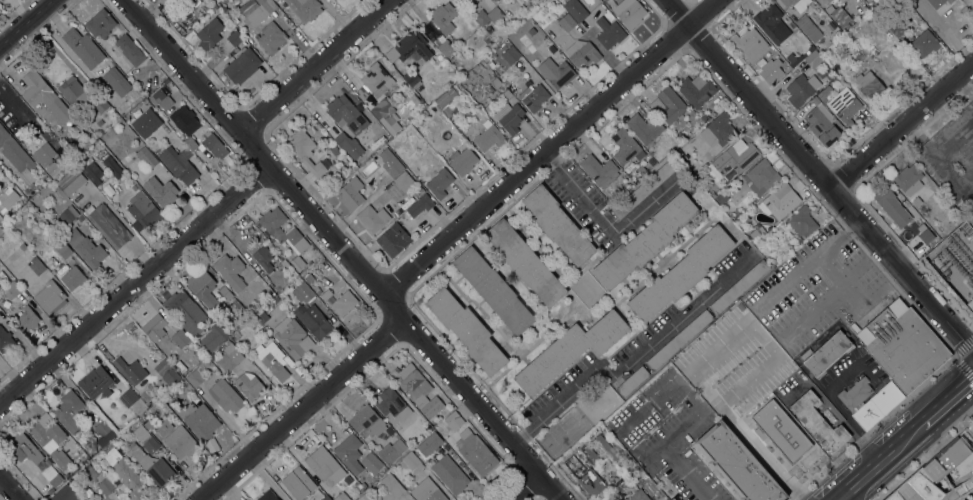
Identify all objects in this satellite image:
building: (2, 0)
building: (234, 0)
building: (165, 1)
building: (824, 1)
building: (938, 3)
building: (796, 4)
building: (212, 6)
building: (247, 6)
building: (611, 6)
building: (304, 9)
building: (575, 10)
building: (261, 11)
building: (228, 13)
building: (632, 14)
building: (838, 14)
building: (488, 16)
building: (443, 17)
building: (938, 20)
road: (26, 23)
building: (567, 23)
building: (772, 23)
building: (100, 24)
building: (831, 26)
building: (808, 28)
building: (489, 29)
building: (897, 30)
building: (531, 31)
building: (609, 33)
building: (837, 33)
building: (209, 34)
building: (515, 35)
building: (234, 38)
building: (271, 38)
building: (524, 40)
building: (924, 43)
building: (749, 44)
building: (83, 48)
building: (446, 48)
building: (410, 49)
building: (531, 49)
building: (129, 50)
building: (522, 51)
building: (582, 53)
building: (510, 55)
building: (797, 57)
building: (813, 59)
building: (491, 65)
building: (242, 66)
road: (314, 66)
building: (556, 71)
building: (771, 71)
building: (830, 76)
building: (411, 78)
building: (116, 81)
building: (165, 81)
building: (374, 82)
building: (496, 85)
building: (870, 86)
building: (489, 89)
building: (801, 89)
building: (696, 90)
road: (964, 90)
building: (72, 91)
building: (507, 94)
building: (821, 96)
building: (45, 97)
building: (533, 97)
building: (160, 99)
building: (413, 99)
building: (443, 99)
building: (667, 105)
building: (100, 106)
building: (844, 106)
building: (346, 113)
building: (385, 115)
building: (509, 117)
building: (99, 123)
building: (145, 123)
building: (821, 124)
building: (185, 125)
building: (644, 126)
road: (901, 127)
building: (720, 129)
building: (77, 134)
building: (128, 137)
building: (488, 137)
building: (108, 139)
building: (91, 140)
building: (348, 145)
building: (214, 146)
building: (626, 149)
road: (546, 150)
building: (305, 151)
building: (114, 152)
road: (937, 154)
building: (145, 157)
building: (735, 158)
building: (17, 159)
building: (46, 159)
building: (130, 159)
building: (462, 161)
building: (390, 163)
building: (178, 164)
building: (112, 167)
building: (599, 171)
building: (92, 173)
building: (760, 176)
building: (698, 177)
road: (818, 177)
building: (908, 180)
building: (71, 181)
building: (437, 181)
building: (399, 185)
building: (646, 187)
building: (164, 193)
building: (350, 194)
building: (721, 198)
building: (885, 198)
building: (7, 199)
building: (779, 201)
building: (915, 201)
building: (420, 207)
building: (143, 212)
building: (68, 214)
building: (972, 216)
road: (604, 218)
building: (372, 219)
building: (801, 221)
building: (972, 223)
building: (4, 225)
building: (108, 225)
building: (558, 225)
building: (1, 231)
building: (756, 233)
building: (284, 234)
building: (393, 240)
building: (645, 241)
building: (22, 246)
building: (60, 247)
road: (335, 249)
building: (88, 251)
building: (263, 258)
power substation: (955, 260)
building: (525, 263)
building: (35, 265)
road: (809, 265)
building: (230, 271)
building: (680, 274)
building: (72, 277)
building: (309, 278)
building: (280, 283)
road: (134, 286)
building: (739, 286)
building: (204, 289)
building: (11, 290)
building: (493, 290)
building: (225, 293)
building: (302, 293)
building: (325, 294)
building: (50, 297)
building: (275, 300)
building: (290, 302)
building: (343, 303)
building: (970, 305)
building: (187, 313)
building: (271, 313)
building: (261, 317)
building: (28, 319)
building: (313, 320)
building: (152, 330)
building: (467, 331)
building: (211, 338)
building: (292, 338)
building: (180, 339)
building: (5, 340)
building: (679, 340)
building: (902, 346)
building: (570, 351)
building: (827, 353)
building: (230, 357)
building: (272, 362)
road: (622, 365)
building: (130, 370)
building: (200, 371)
building: (167, 372)
building: (632, 381)
building: (96, 382)
building: (248, 385)
building: (417, 391)
building: (172, 392)
building: (145, 396)
building: (225, 396)
road: (832, 396)
building: (128, 398)
road: (949, 399)
building: (869, 401)
building: (392, 406)
building: (69, 411)
road: (298, 412)
road: (692, 414)
building: (765, 419)
building: (199, 420)
building: (367, 422)
building: (454, 422)
building: (818, 422)
building: (148, 425)
building: (163, 427)
building: (439, 430)
building: (971, 430)
building: (103, 432)
road: (746, 437)
building: (50, 441)
building: (181, 442)
railway: (907, 442)
building: (429, 444)
building: (24, 448)
building: (606, 448)
building: (391, 451)
building: (475, 452)
building: (349, 453)
building: (590, 455)
road: (869, 455)
building: (149, 456)
building: (733, 461)
building: (411, 462)
building: (321, 463)
road: (890, 463)
building: (373, 465)
building: (123, 471)
building: (936, 471)
building: (450, 474)
building: (584, 474)
building: (51, 475)
building: (94, 479)
building: (298, 483)
building: (391, 485)
road: (517, 488)
road: (9, 489)
building: (427, 491)
building: (64, 494)
building: (267, 496)
building: (638, 496)
building: (340, 497)
building: (364, 497)
building: (894, 497)
building: (325, 498)
building: (405, 499)
building: (673, 499)

